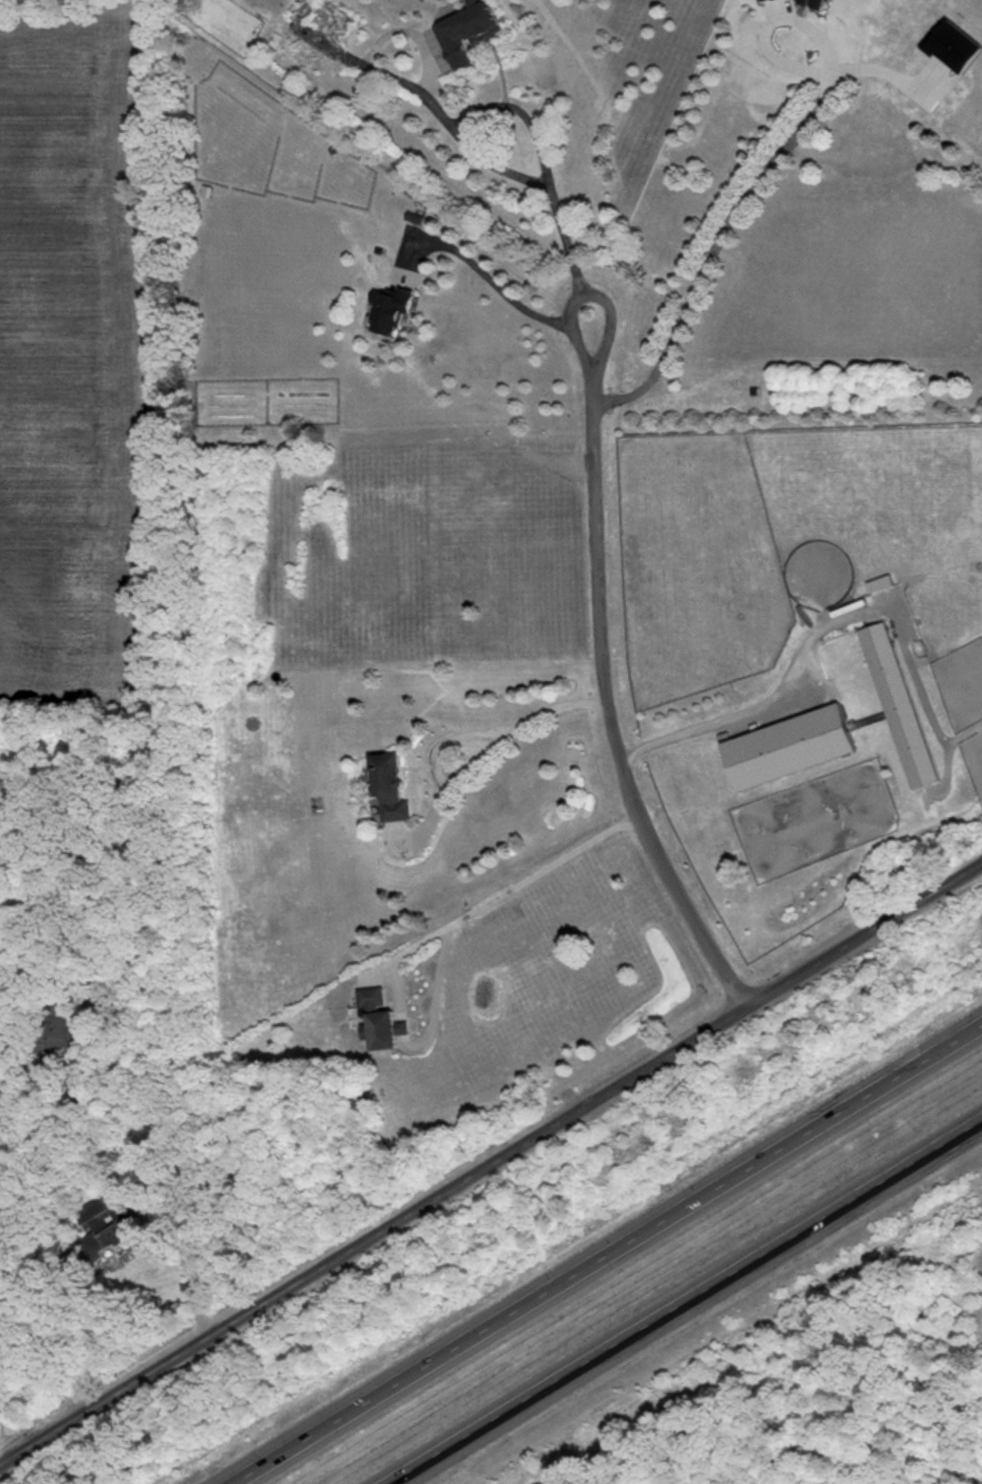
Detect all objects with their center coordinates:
building: (179, 1)
building: (327, 17)
building: (472, 29)
road: (506, 72)
road: (520, 113)
road: (480, 158)
road: (764, 166)
road: (498, 288)
building: (386, 312)
building: (752, 393)
road: (611, 678)
building: (905, 704)
road: (763, 709)
building: (794, 747)
road: (497, 749)
building: (388, 789)
road: (517, 889)
building: (373, 998)
building: (56, 1030)
building: (378, 1031)
building: (78, 1086)
road: (491, 1165)
building: (104, 1223)
road: (610, 1256)
road: (689, 1303)
road: (50, 1332)
park: (849, 1401)

